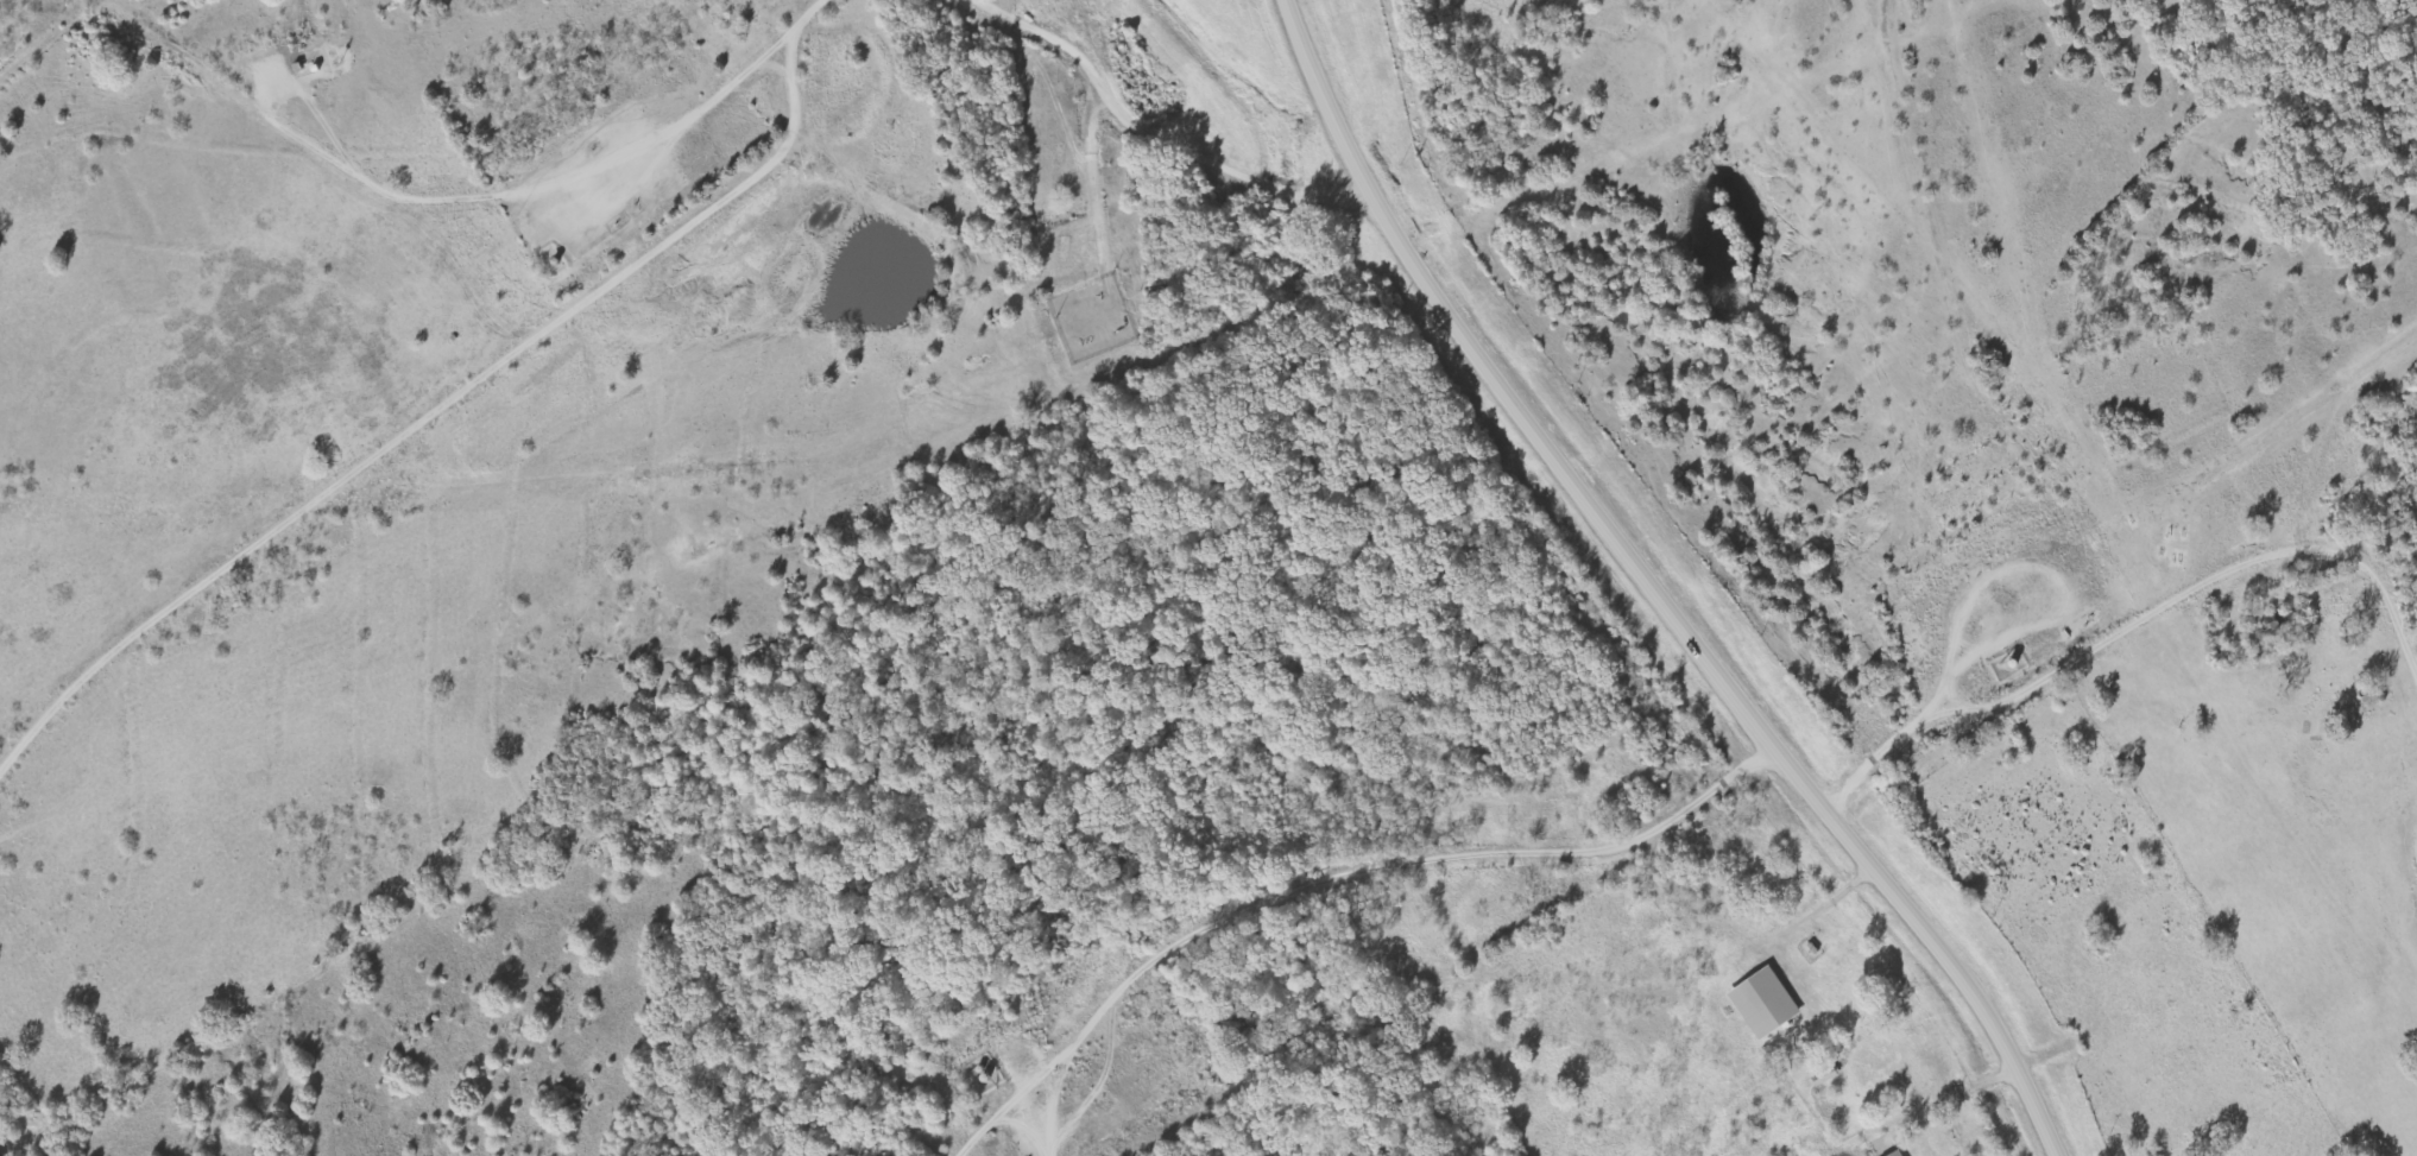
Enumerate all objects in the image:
road: (1654, 587)
road: (2081, 632)
building: (1769, 1004)
building: (1901, 1154)

